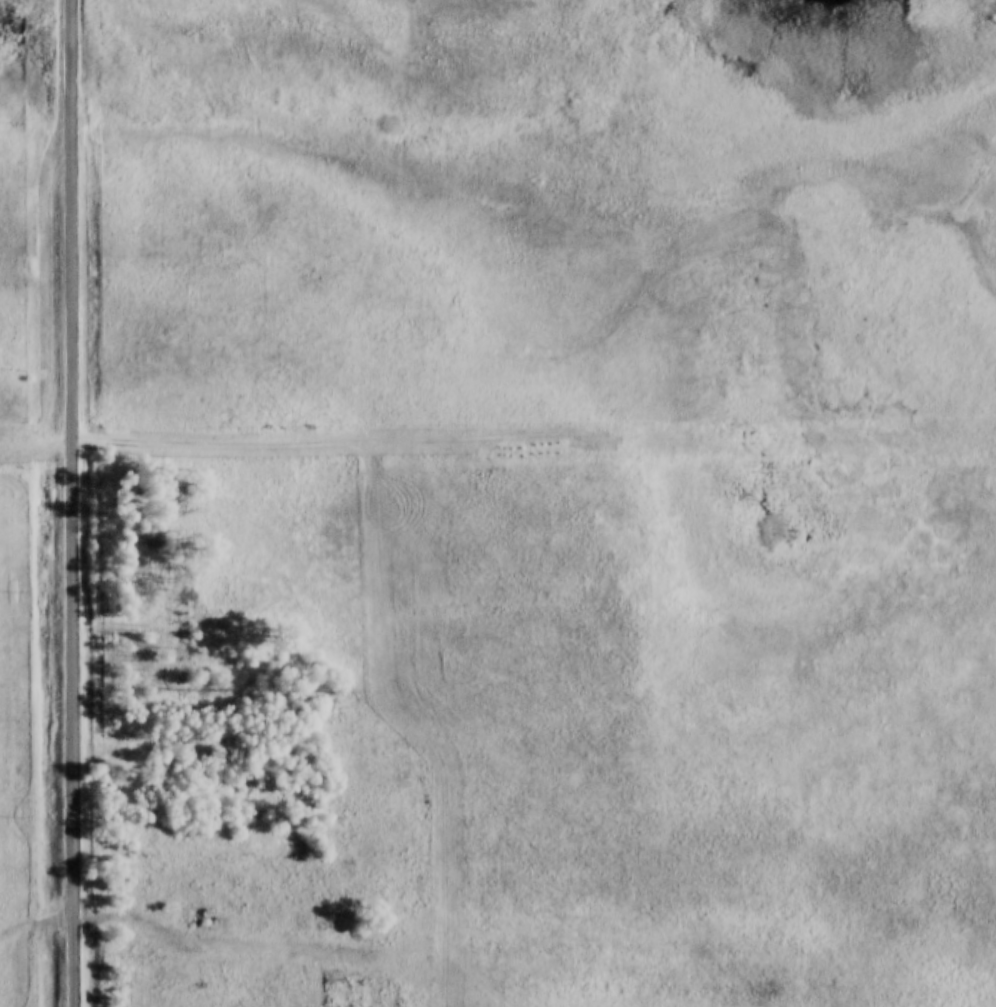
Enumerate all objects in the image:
road: (497, 437)
road: (70, 503)
road: (181, 908)

